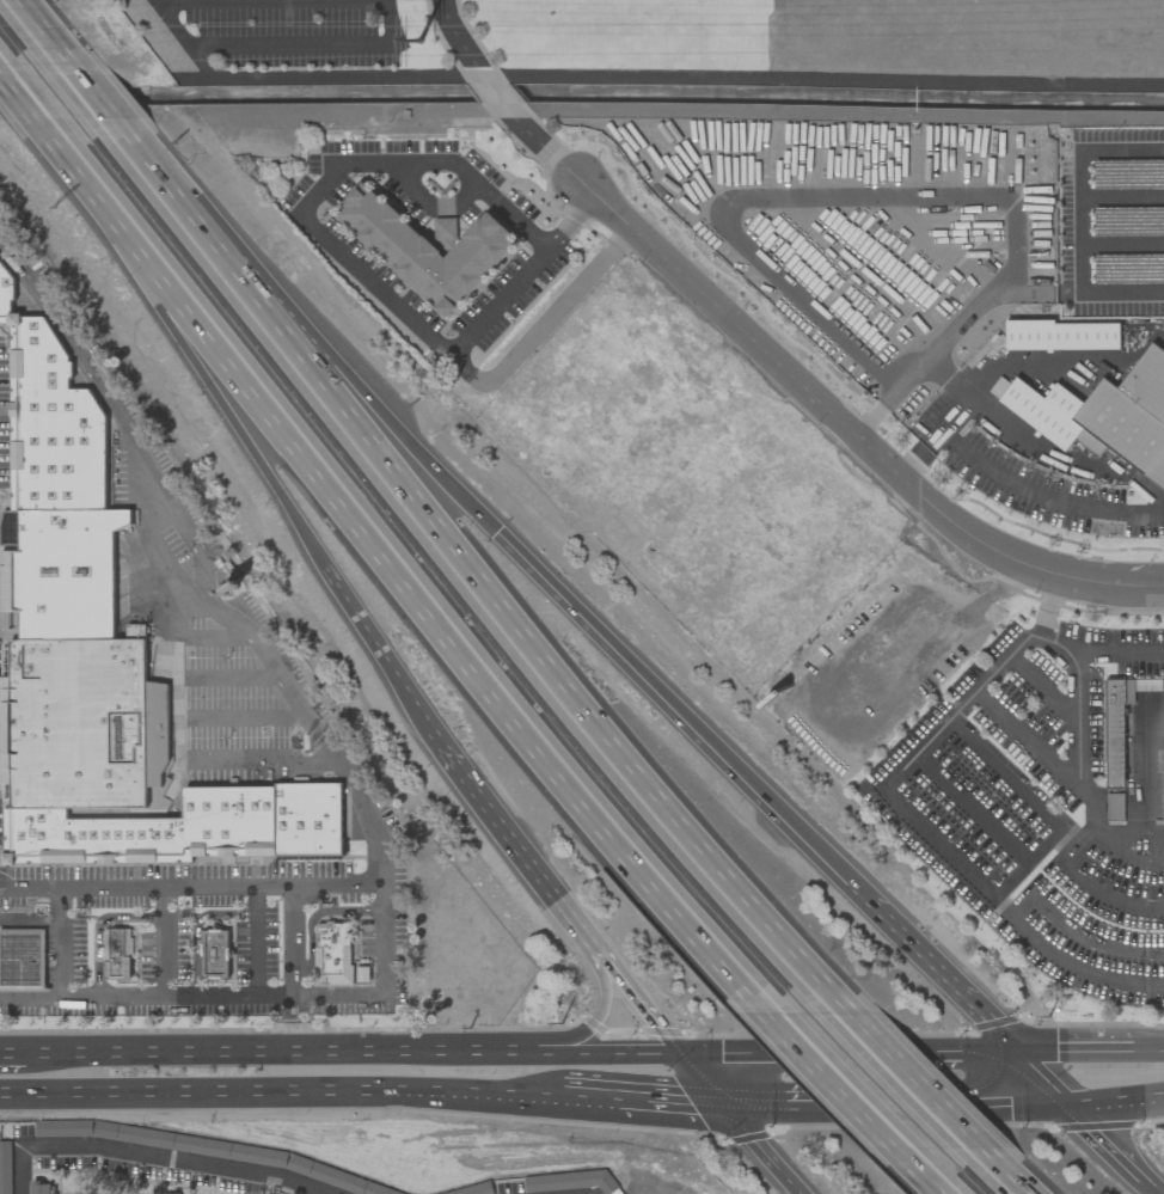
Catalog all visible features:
road: (388, 10)
road: (459, 38)
power tower: (422, 45)
road: (641, 74)
road: (498, 96)
road: (547, 148)
road: (78, 171)
building: (445, 227)
building: (425, 250)
road: (342, 255)
road: (986, 304)
building: (1062, 336)
road: (986, 400)
building: (1102, 415)
road: (240, 420)
building: (50, 422)
road: (850, 424)
road: (398, 495)
road: (1054, 500)
building: (8, 528)
road: (161, 559)
road: (204, 564)
building: (62, 574)
road: (553, 598)
road: (1042, 622)
road: (440, 633)
road: (188, 637)
road: (375, 649)
road: (227, 675)
road: (1043, 687)
road: (1078, 700)
road: (961, 703)
road: (243, 717)
building: (1120, 724)
building: (82, 725)
road: (1028, 740)
road: (195, 764)
road: (974, 804)
road: (1039, 804)
building: (185, 831)
road: (1137, 833)
road: (516, 843)
road: (1132, 858)
road: (1085, 882)
road: (191, 887)
road: (1003, 908)
road: (255, 942)
road: (59, 943)
road: (165, 943)
building: (117, 955)
building: (214, 956)
building: (333, 960)
building: (22, 962)
road: (930, 966)
road: (296, 969)
road: (247, 998)
road: (639, 1005)
road: (596, 1012)
road: (1001, 1037)
road: (985, 1047)
traffic signals: (1011, 1047)
road: (1072, 1048)
road: (1148, 1049)
road: (817, 1051)
road: (345, 1052)
traffic signals: (676, 1053)
road: (7, 1054)
road: (895, 1067)
road: (702, 1078)
road: (1044, 1078)
road: (831, 1079)
road: (280, 1090)
road: (589, 1096)
road: (636, 1098)
road: (690, 1101)
traffic signals: (727, 1103)
road: (1121, 1103)
road: (754, 1104)
road: (931, 1107)
traffic signals: (1078, 1109)
road: (1108, 1138)
building: (160, 1141)
road: (765, 1147)
road: (152, 1156)
building: (5, 1168)
road: (1003, 1176)
road: (1151, 1180)
road: (932, 1183)
building: (41, 1187)
building: (81, 1193)
building: (165, 1193)

